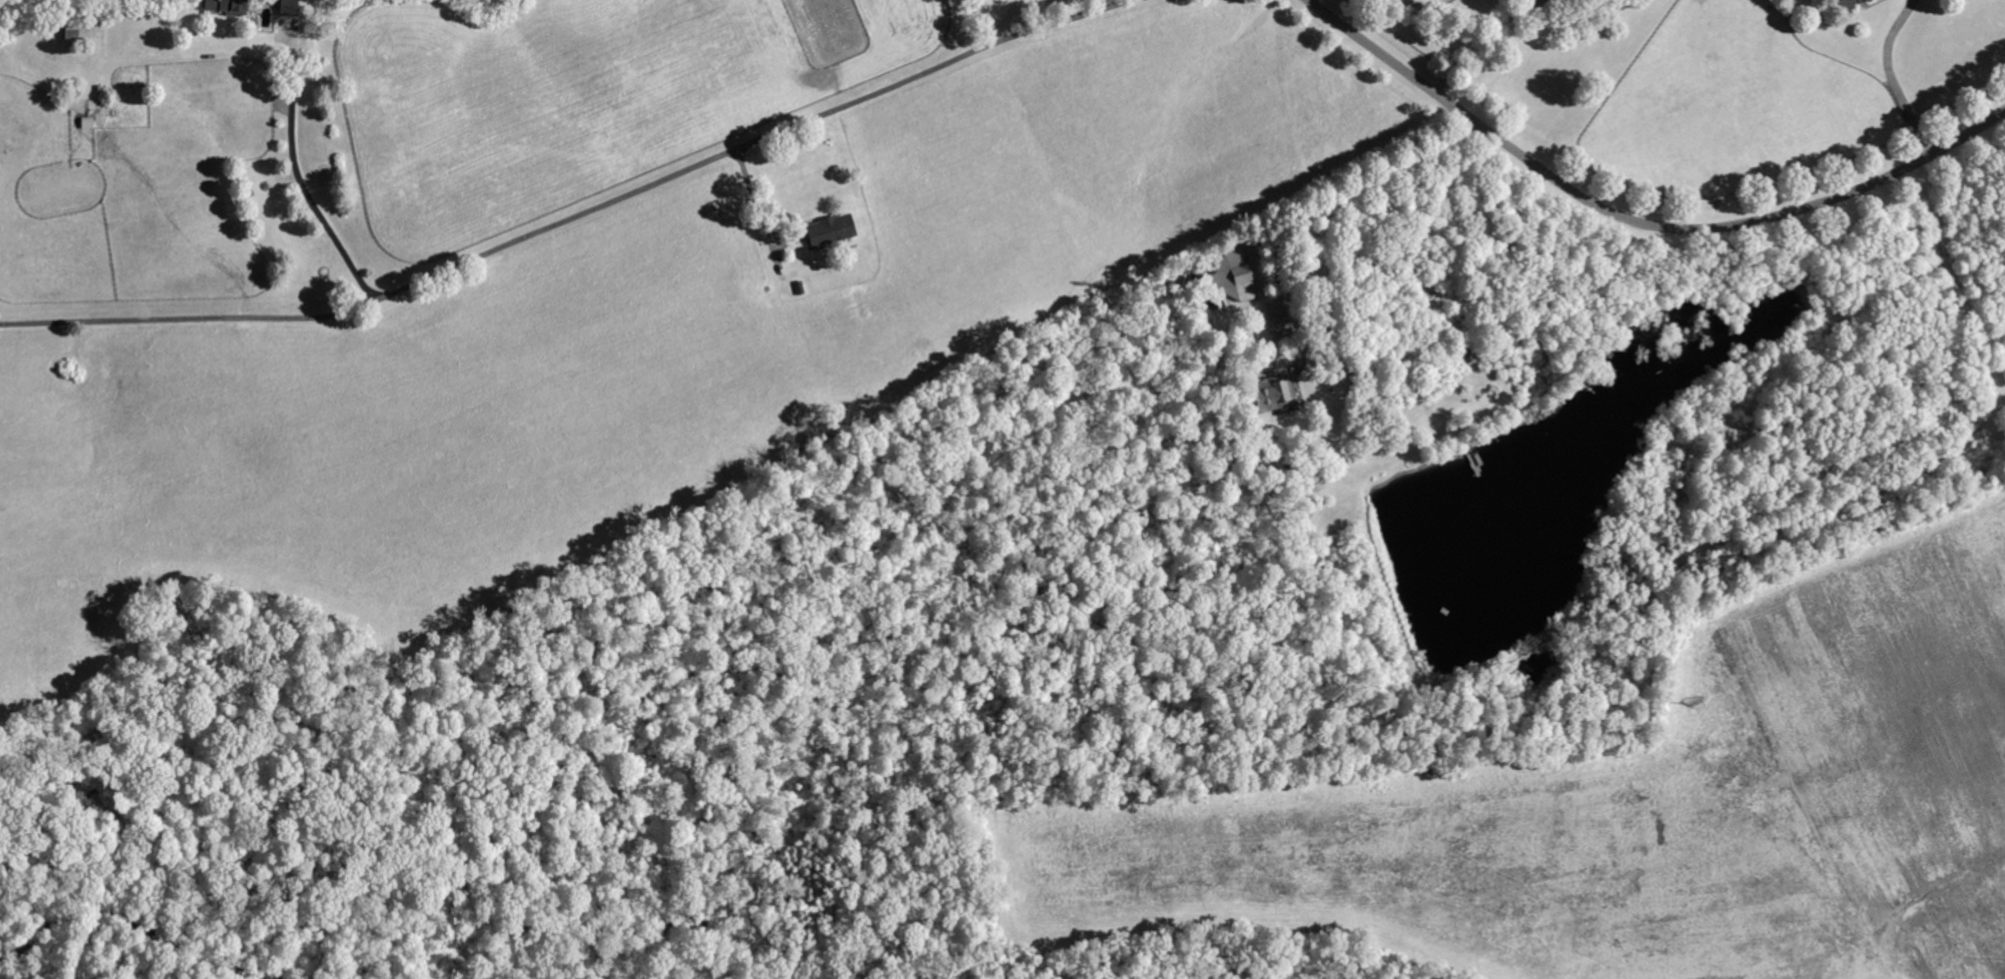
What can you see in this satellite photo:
building: (1851, 4)
building: (225, 7)
building: (287, 7)
building: (79, 28)
road: (1478, 43)
road: (1892, 77)
building: (87, 124)
road: (296, 171)
road: (1355, 192)
road: (757, 204)
road: (581, 213)
road: (1640, 216)
building: (832, 231)
building: (1228, 280)
building: (1469, 356)
building: (1271, 395)
building: (1310, 487)

